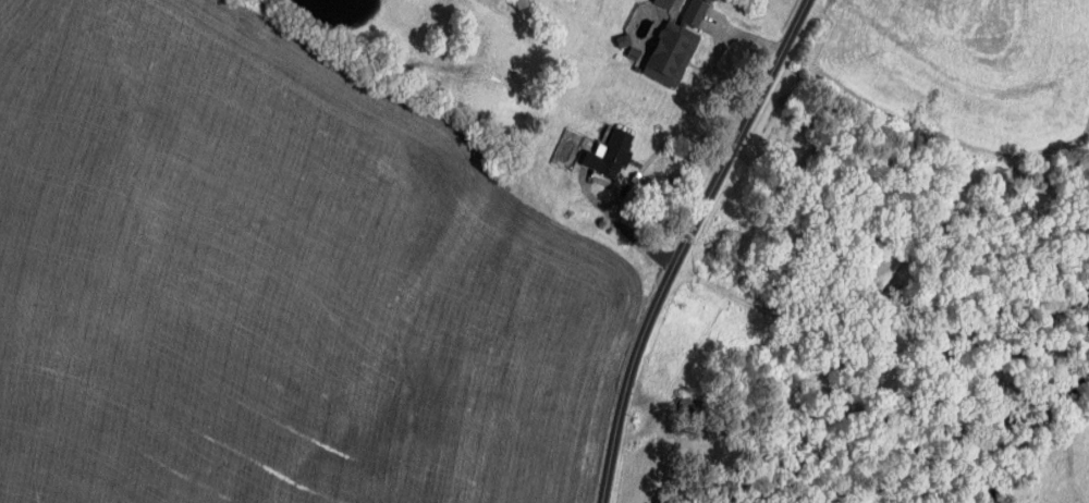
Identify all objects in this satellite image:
building: (665, 3)
building: (697, 12)
building: (672, 53)
building: (611, 151)
road: (620, 220)
road: (687, 243)

